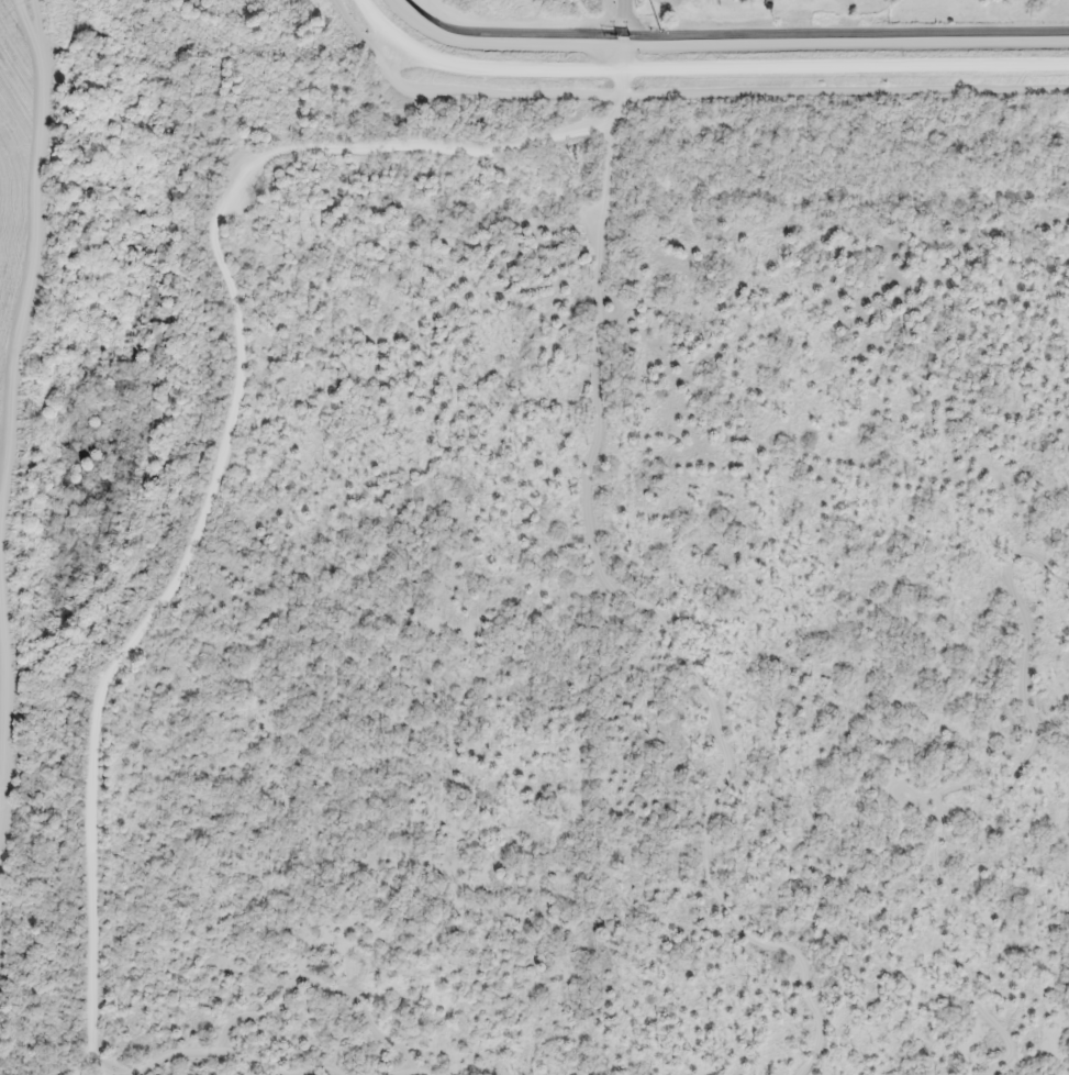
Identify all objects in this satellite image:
road: (624, 11)
road: (620, 47)
road: (699, 73)
crop: (15, 159)
road: (229, 448)
road: (642, 606)
crop: (4, 649)
road: (972, 789)
road: (320, 986)
road: (209, 1052)
road: (102, 1065)
road: (324, 1073)

